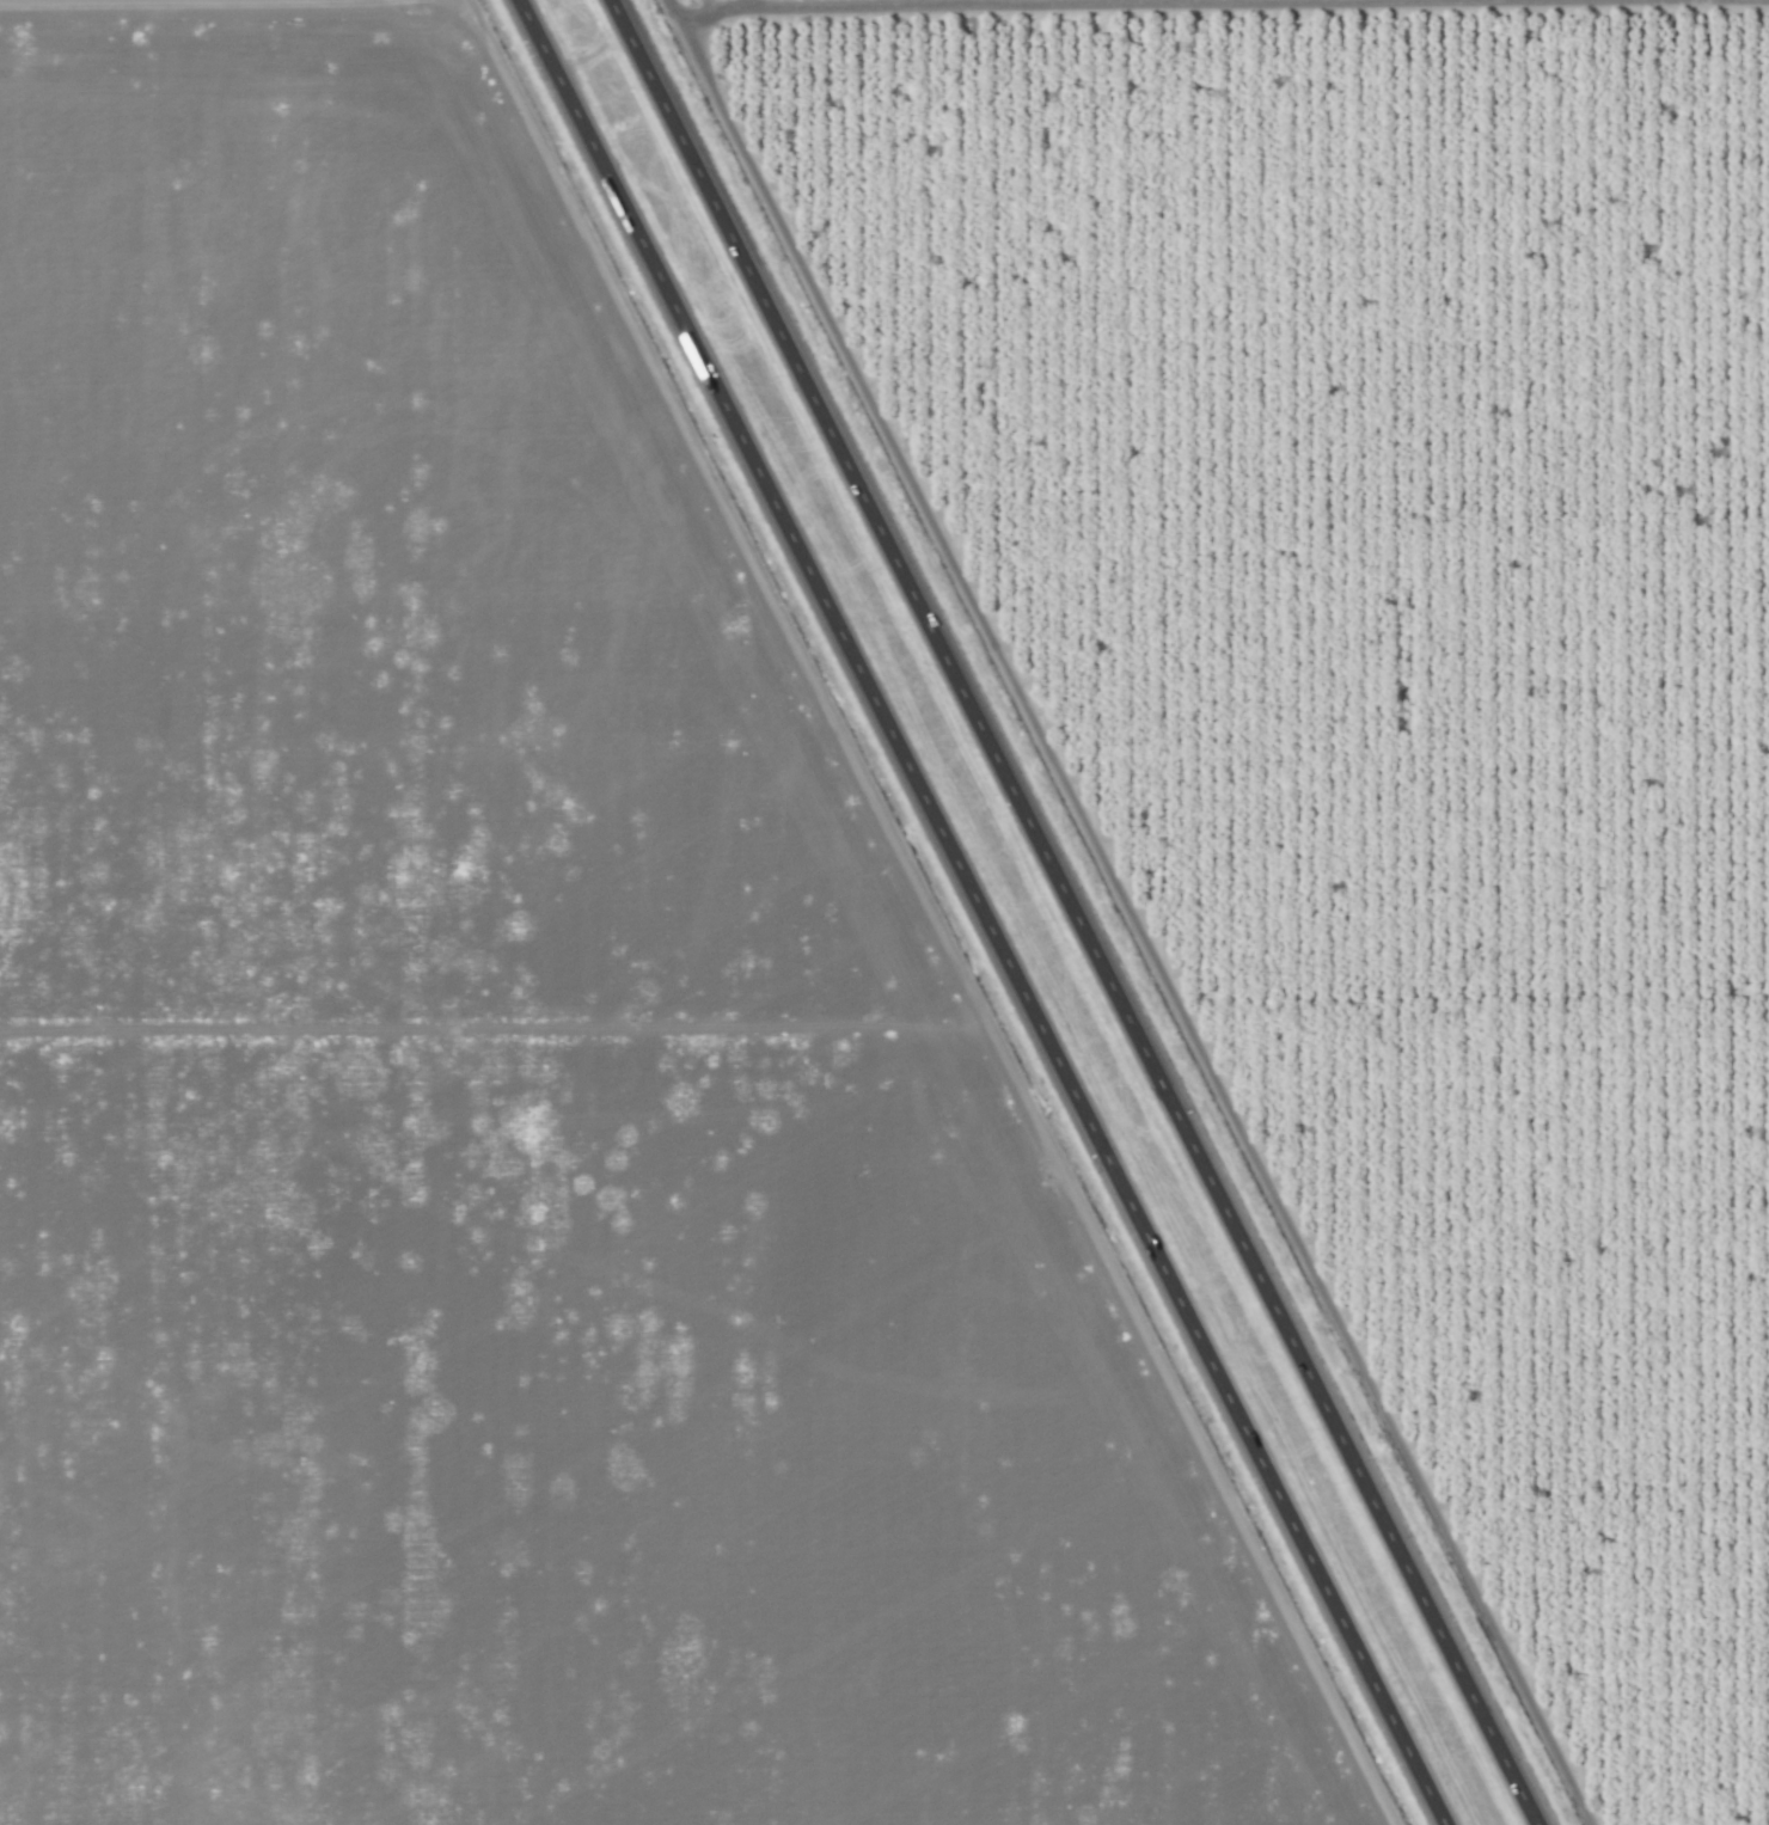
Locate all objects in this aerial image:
crop: (418, 0)
road: (216, 5)
road: (981, 912)
road: (1075, 912)
crop: (486, 1065)

